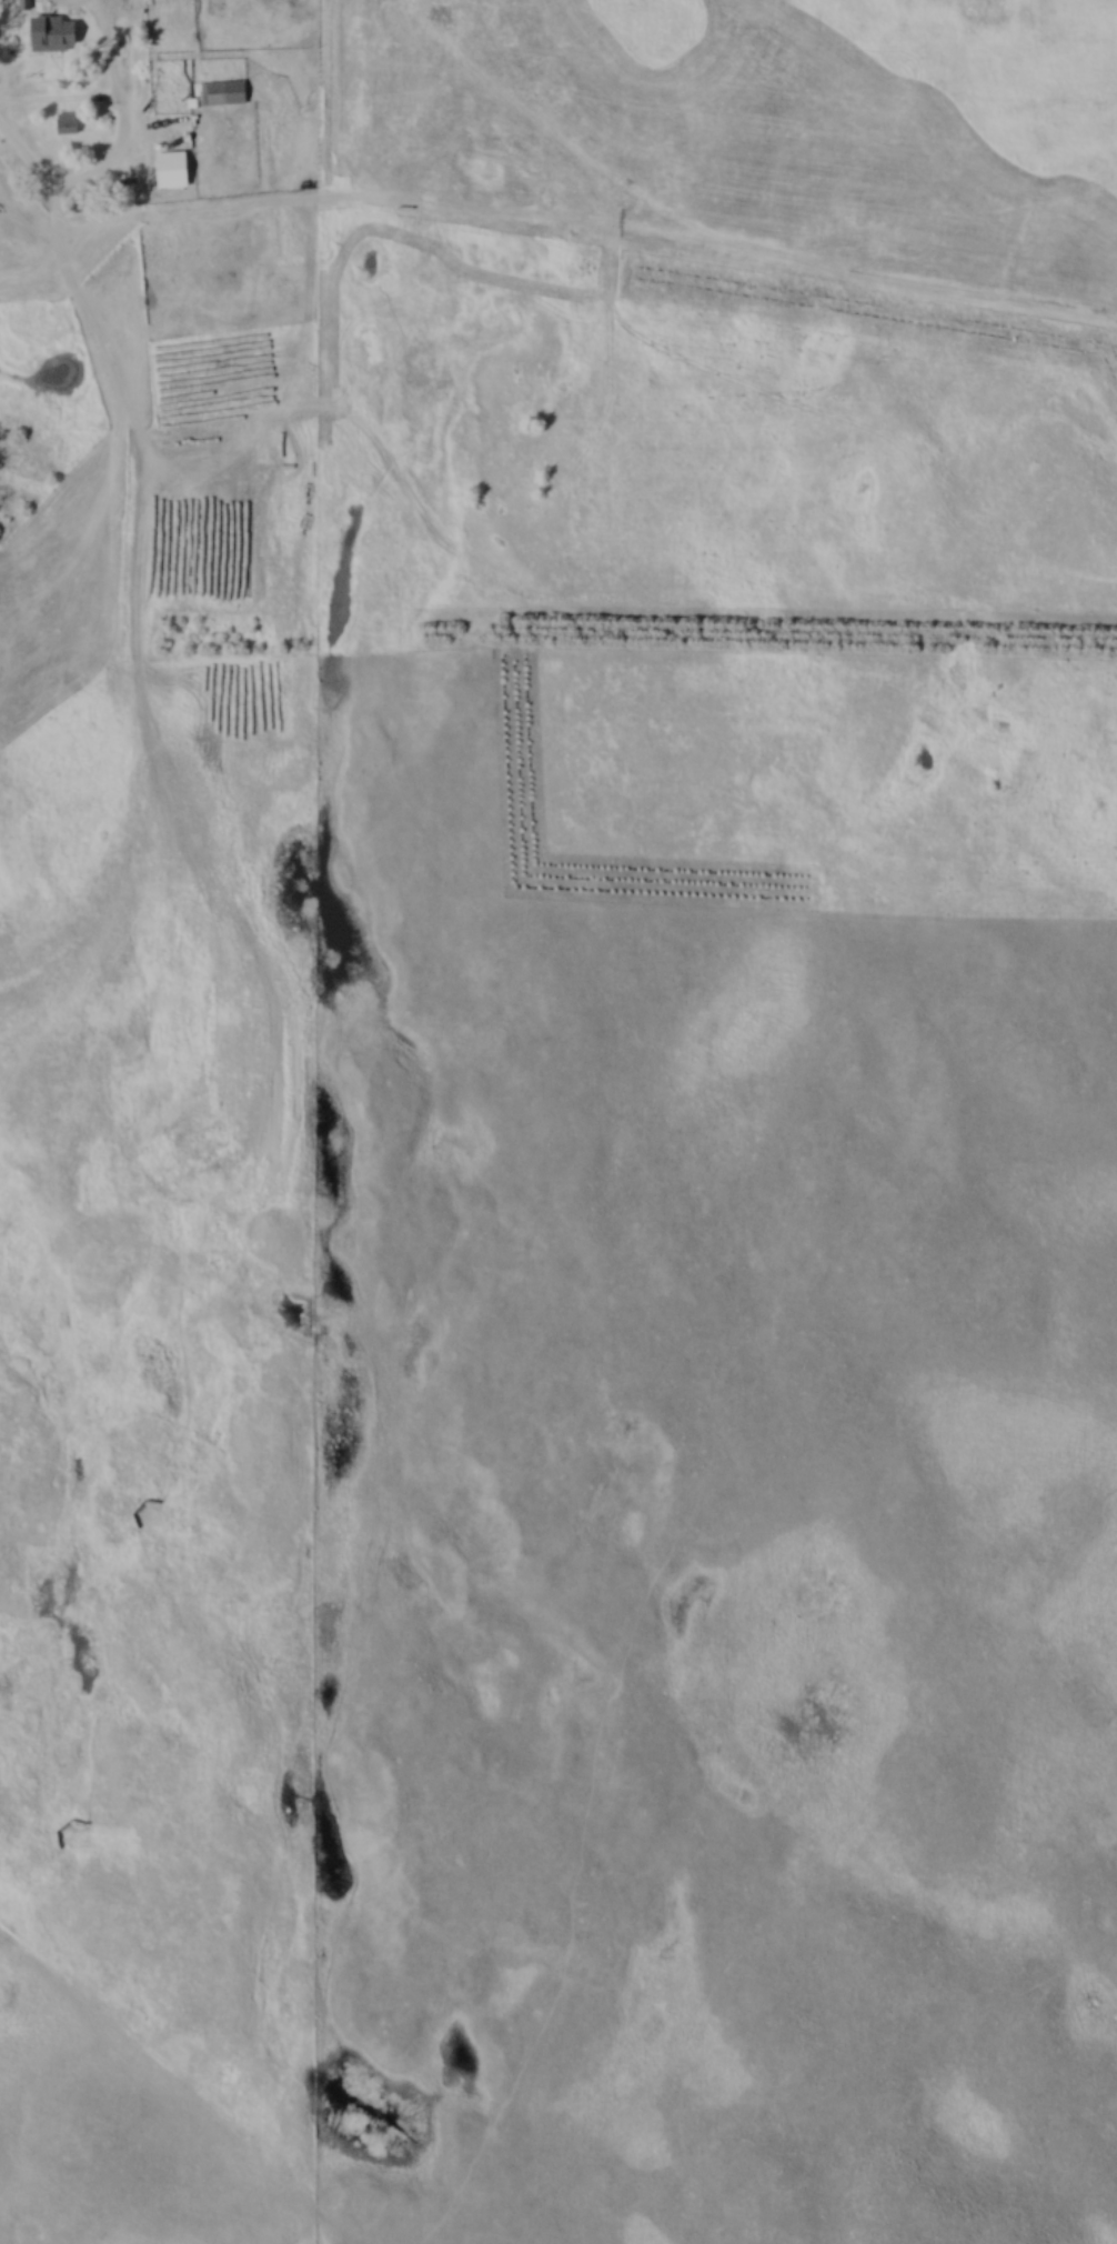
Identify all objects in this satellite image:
building: (52, 38)
road: (12, 89)
building: (222, 96)
building: (66, 126)

